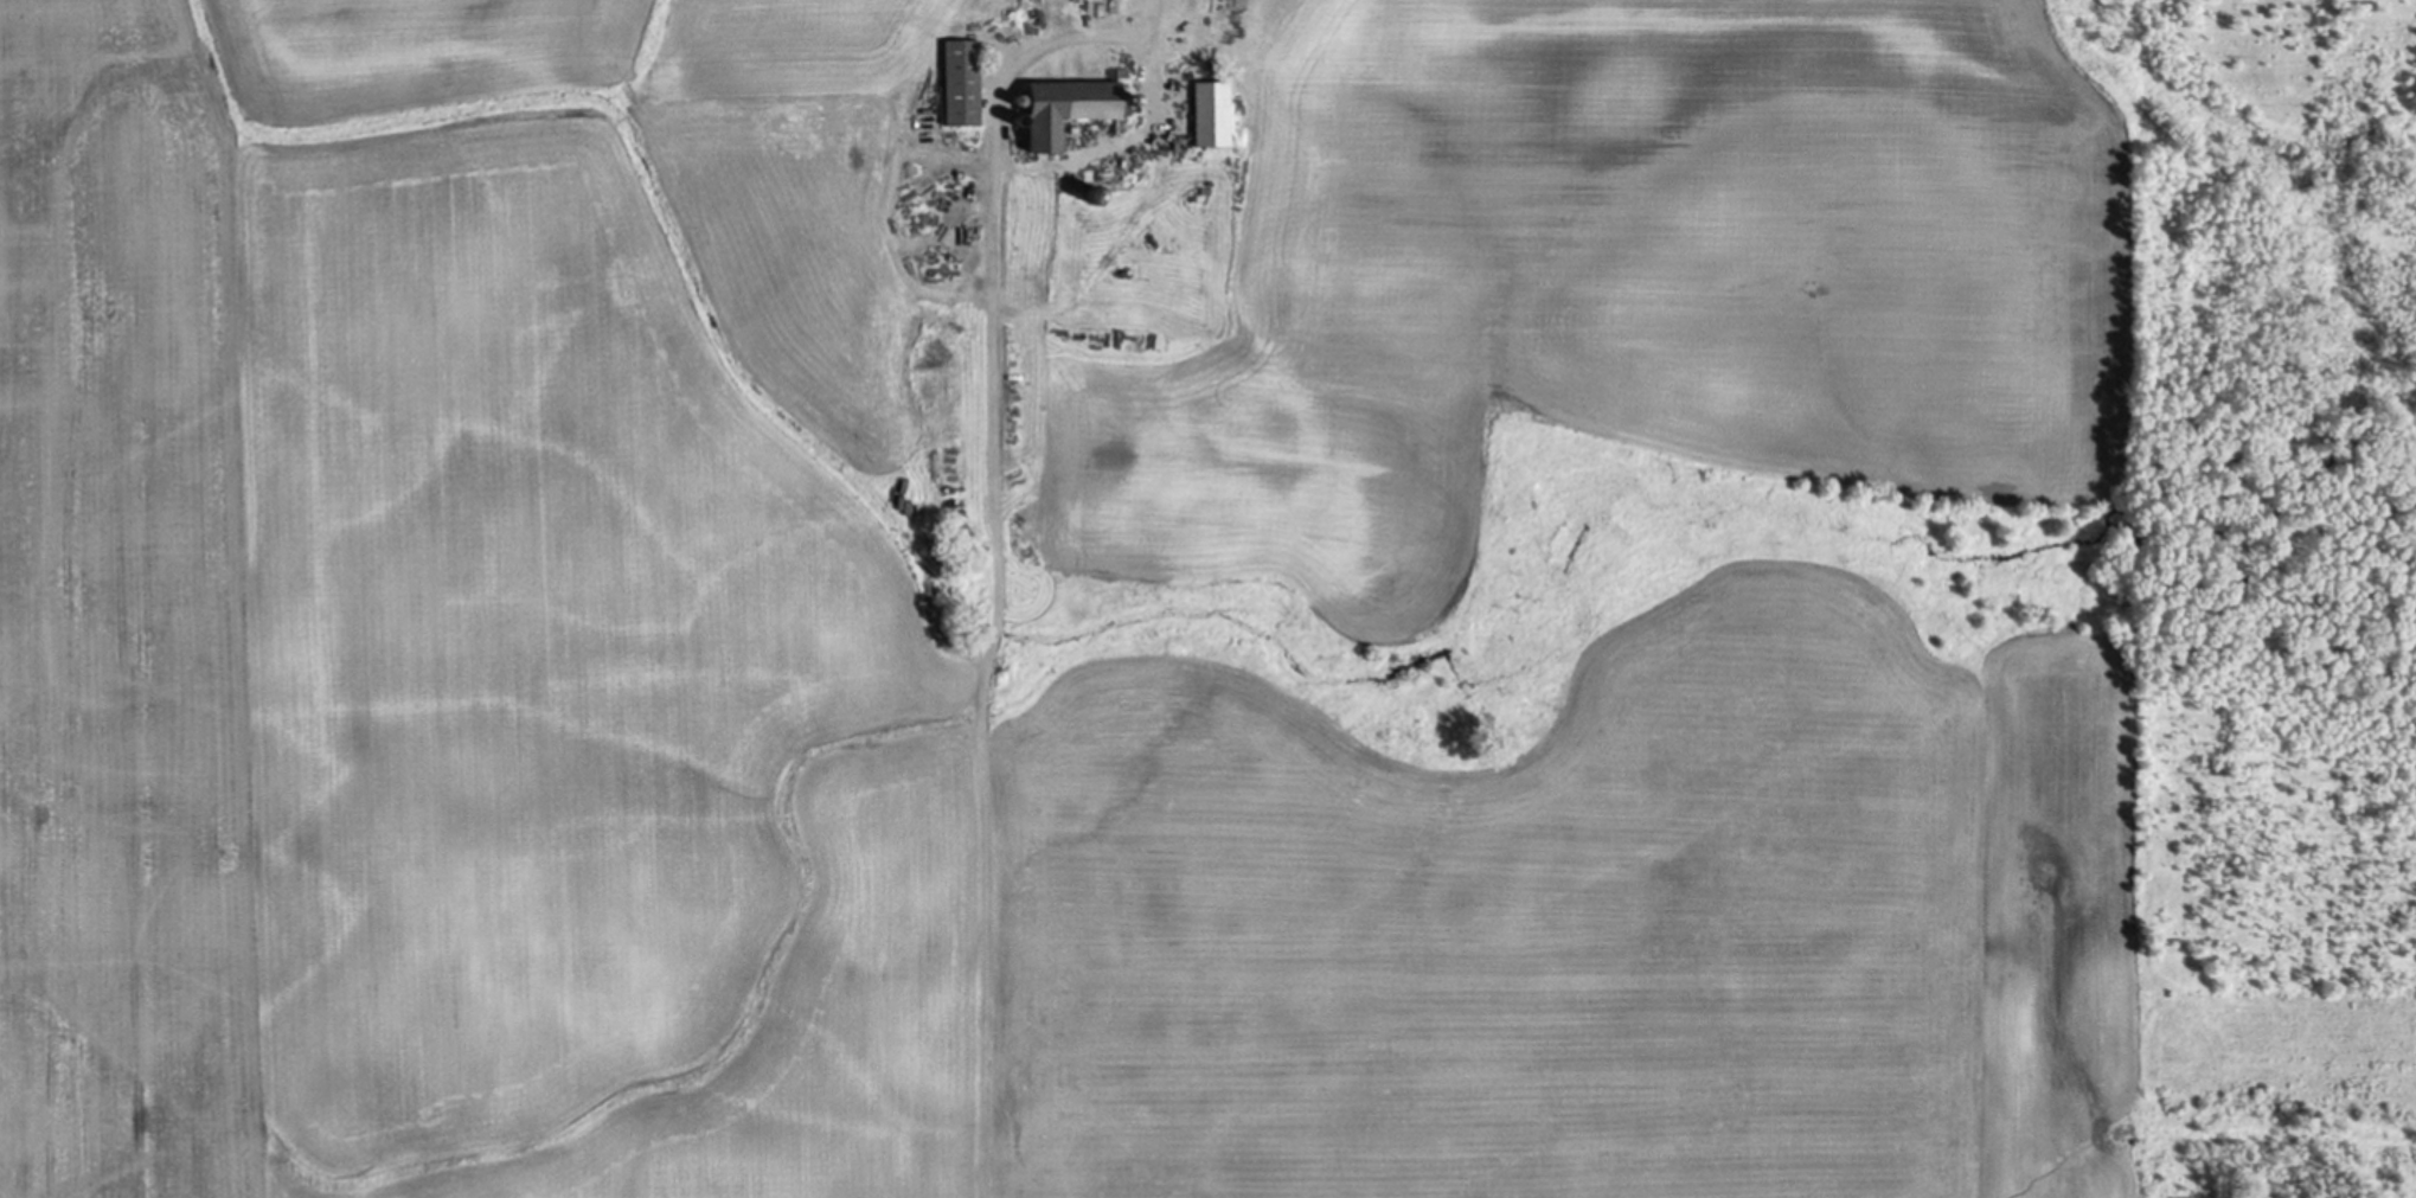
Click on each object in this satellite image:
building: (963, 83)
building: (1075, 107)
building: (1215, 115)
road: (993, 242)
road: (985, 897)

